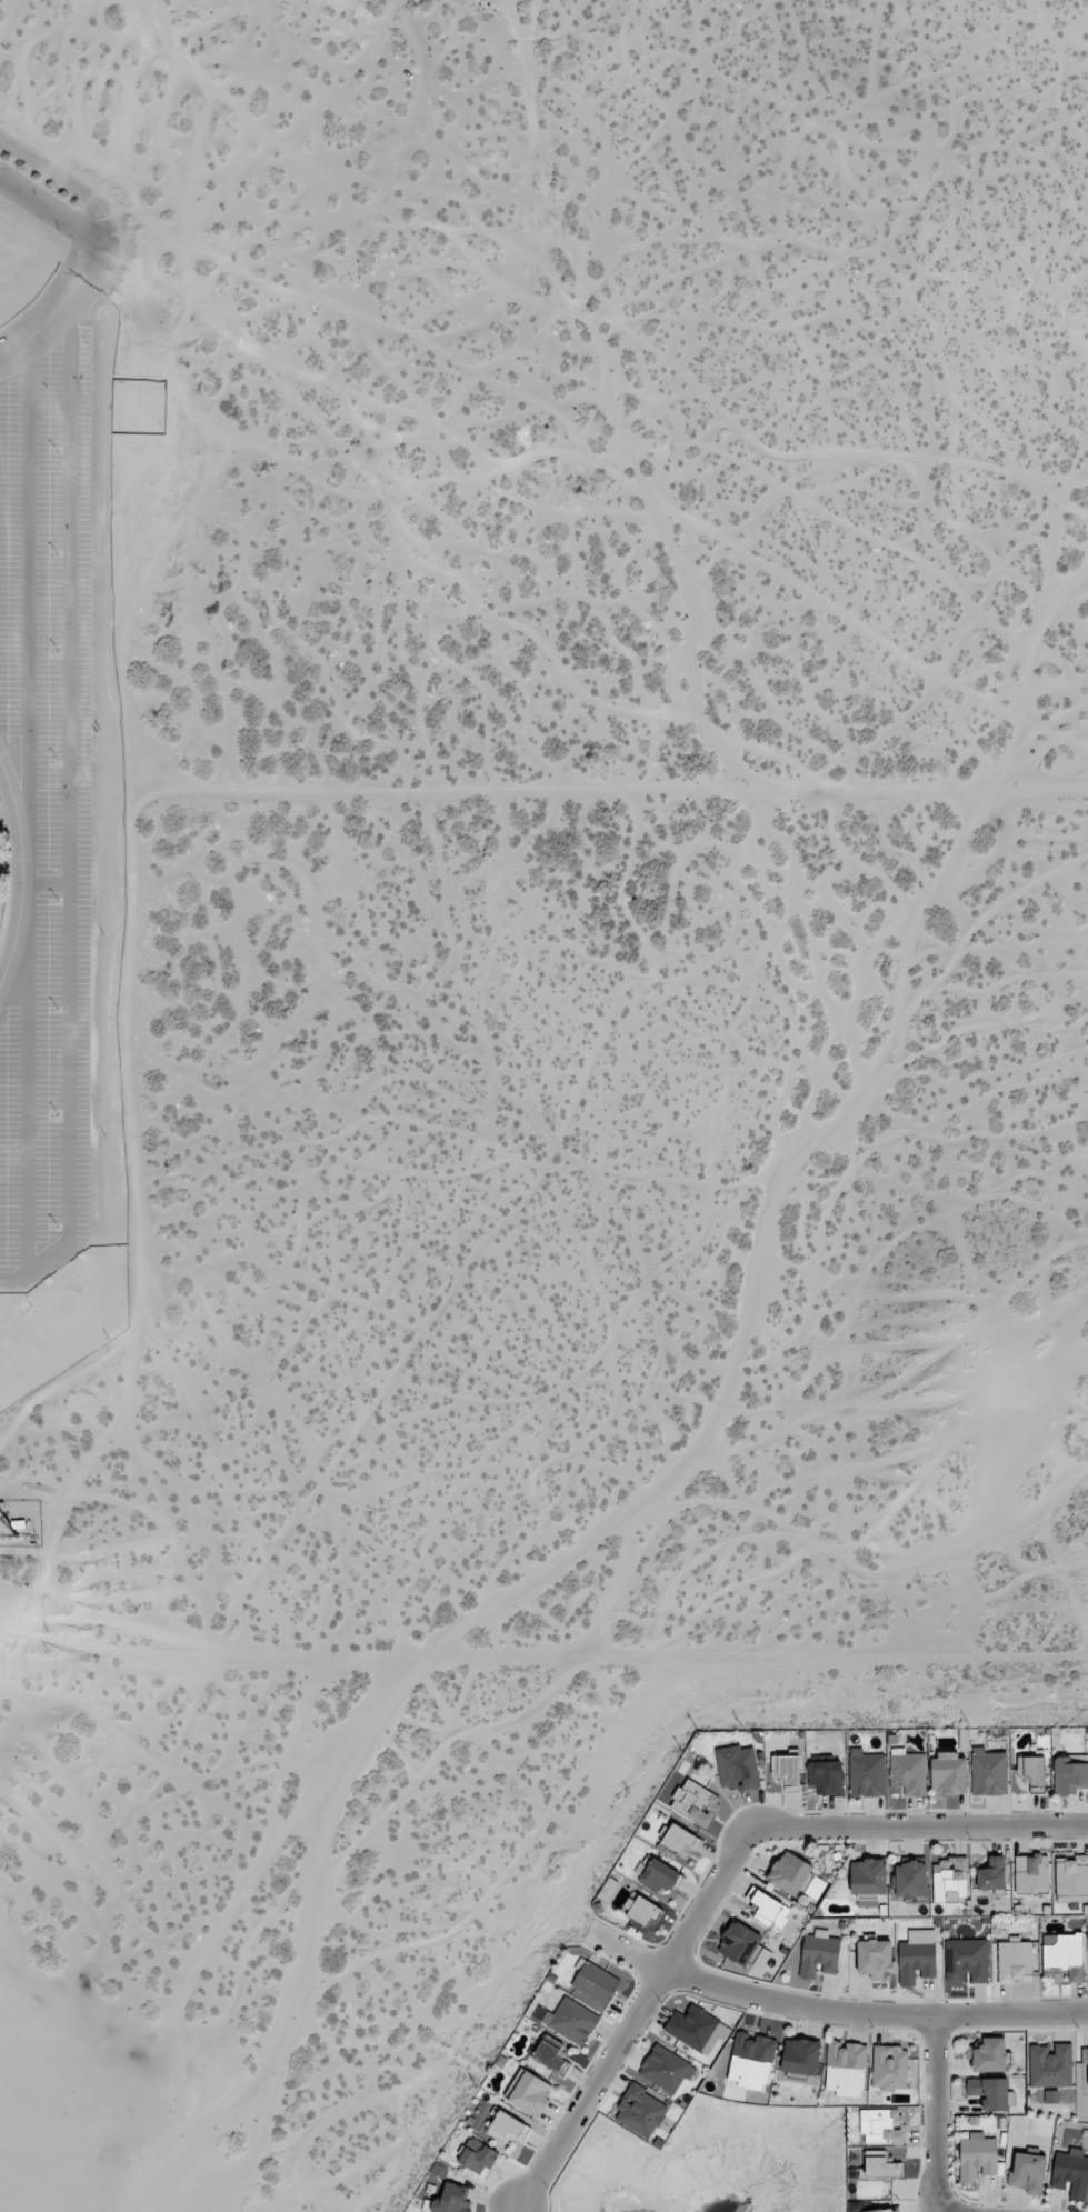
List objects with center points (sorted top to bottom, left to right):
road: (99, 209)
road: (62, 299)
road: (27, 583)
parking lot: (47, 809)
road: (68, 813)
road: (20, 871)
road: (43, 882)
road: (27, 1107)
building: (737, 1768)
building: (1031, 1769)
building: (786, 1771)
building: (907, 1772)
building: (948, 1772)
building: (988, 1772)
building: (866, 1773)
building: (825, 1776)
building: (1069, 1776)
building: (695, 1802)
building: (680, 1841)
road: (722, 1873)
building: (789, 1873)
building: (1031, 1873)
building: (991, 1874)
building: (659, 1875)
building: (868, 1876)
building: (949, 1879)
building: (1071, 1879)
building: (910, 1880)
building: (815, 1888)
building: (641, 1909)
building: (770, 1910)
building: (739, 1943)
building: (819, 1953)
building: (1065, 1954)
building: (917, 1956)
building: (874, 1959)
building: (966, 1960)
building: (1015, 1961)
building: (596, 1983)
road: (831, 2011)
building: (569, 2020)
building: (697, 2029)
building: (550, 2054)
building: (987, 2054)
building: (800, 2056)
building: (1084, 2058)
building: (751, 2060)
building: (846, 2065)
building: (1050, 2065)
building: (889, 2068)
building: (666, 2069)
building: (991, 2092)
building: (531, 2093)
building: (1050, 2096)
building: (640, 2111)
road: (936, 2113)
building: (881, 2125)
building: (508, 2128)
building: (477, 2156)
building: (977, 2156)
building: (880, 2165)
building: (1028, 2172)
building: (1070, 2173)
building: (449, 2200)
building: (882, 2210)

